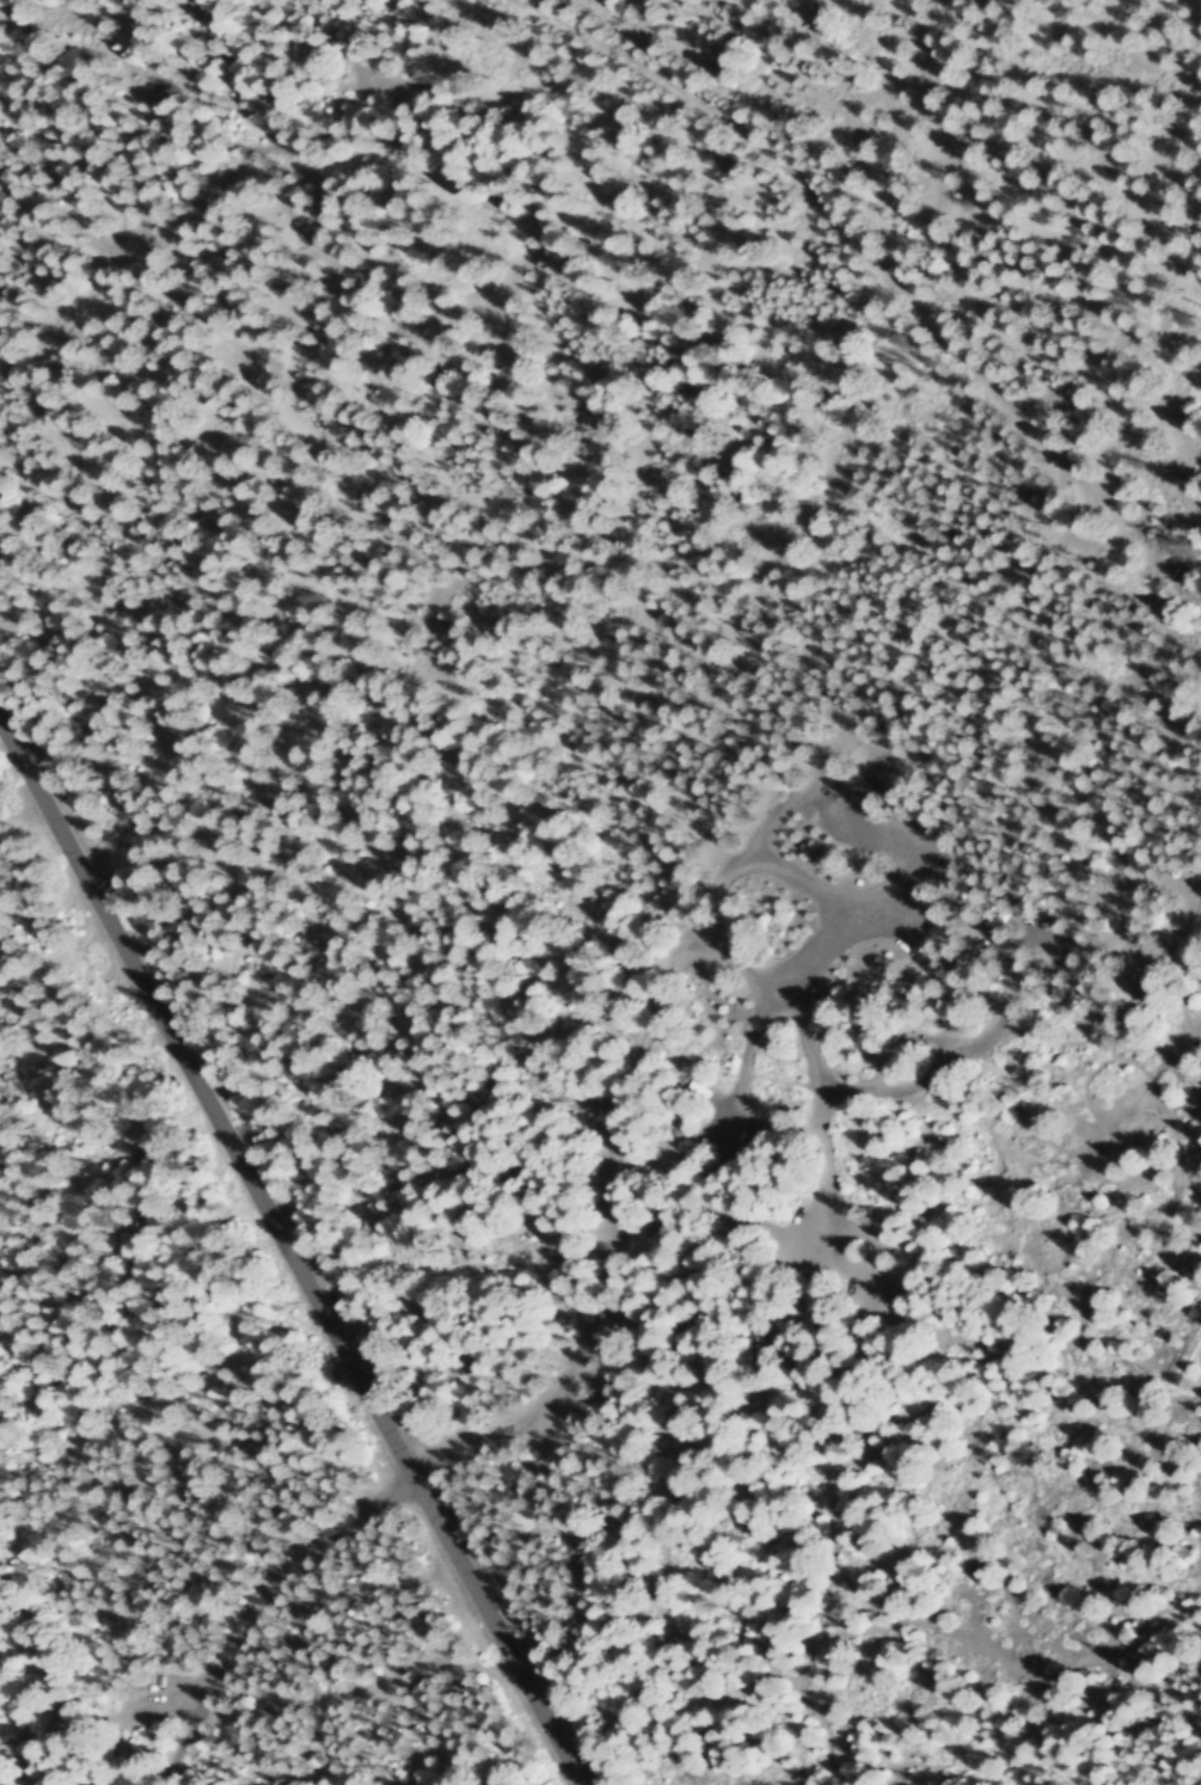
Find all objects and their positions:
road: (886, 280)
road: (915, 680)
road: (901, 873)
road: (648, 1026)
road: (811, 1082)
road: (292, 1255)
road: (262, 1606)

